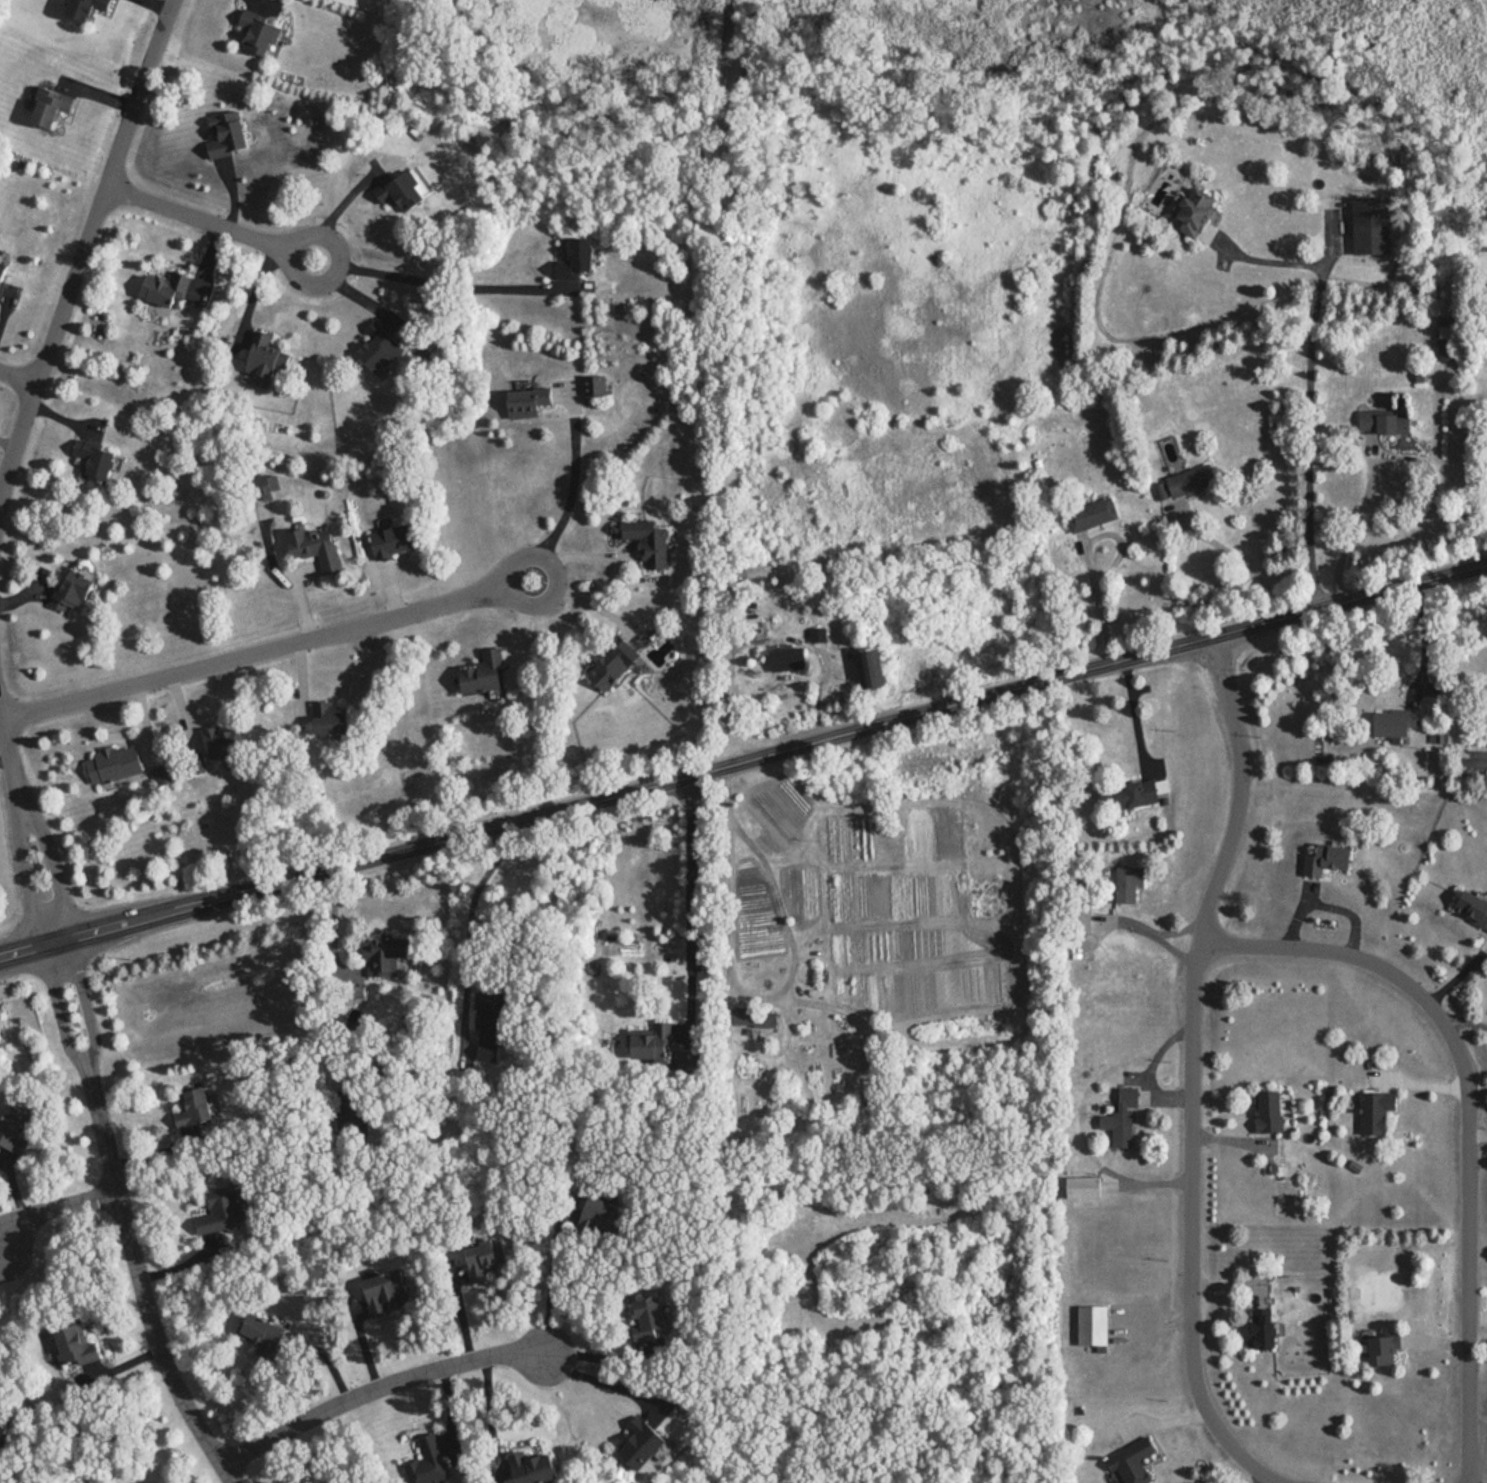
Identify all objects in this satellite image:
building: (104, 1)
road: (169, 3)
building: (76, 6)
building: (257, 21)
building: (261, 36)
road: (103, 91)
building: (52, 99)
building: (224, 126)
building: (398, 185)
road: (234, 193)
road: (336, 207)
building: (1195, 212)
road: (211, 223)
building: (1371, 227)
road: (86, 250)
building: (575, 257)
road: (207, 260)
building: (2, 271)
road: (441, 278)
building: (166, 279)
road: (351, 286)
road: (254, 290)
road: (5, 305)
building: (377, 336)
building: (1447, 344)
building: (262, 349)
road: (17, 378)
road: (1310, 379)
road: (727, 383)
building: (595, 387)
building: (528, 394)
road: (61, 409)
building: (1384, 422)
road: (9, 437)
building: (94, 449)
road: (1399, 456)
building: (1190, 481)
road: (573, 486)
building: (263, 487)
building: (1092, 514)
building: (392, 535)
building: (649, 536)
building: (313, 539)
road: (578, 551)
road: (1087, 554)
road: (1235, 554)
road: (296, 578)
building: (72, 582)
road: (392, 590)
road: (23, 591)
road: (582, 597)
road: (1297, 613)
road: (525, 617)
road: (816, 643)
road: (267, 650)
building: (610, 655)
building: (787, 660)
building: (483, 666)
building: (871, 668)
road: (302, 672)
road: (184, 704)
building: (329, 713)
road: (1135, 714)
road: (1, 717)
road: (144, 717)
building: (1395, 722)
building: (223, 733)
road: (5, 756)
road: (11, 757)
building: (114, 757)
building: (1474, 759)
building: (165, 776)
road: (1240, 790)
building: (1138, 793)
road: (554, 810)
building: (1326, 859)
road: (53, 872)
road: (28, 879)
building: (1128, 883)
road: (694, 897)
road: (1326, 907)
building: (1472, 908)
road: (470, 937)
building: (383, 960)
road: (86, 1005)
road: (60, 1011)
building: (753, 1017)
building: (489, 1030)
building: (650, 1043)
building: (194, 1108)
building: (1269, 1112)
building: (1375, 1112)
road: (1467, 1116)
building: (1122, 1118)
building: (13, 1122)
road: (15, 1187)
building: (1083, 1187)
road: (53, 1210)
building: (222, 1211)
building: (601, 1217)
road: (1189, 1233)
road: (1, 1248)
road: (1, 1249)
road: (1, 1252)
building: (483, 1258)
road: (553, 1280)
road: (140, 1285)
building: (385, 1293)
building: (649, 1317)
building: (1092, 1325)
building: (1264, 1328)
building: (261, 1335)
building: (74, 1340)
building: (1383, 1349)
road: (123, 1362)
road: (597, 1380)
road: (376, 1388)
building: (642, 1444)
building: (1133, 1461)
building: (429, 1463)
building: (532, 1468)

